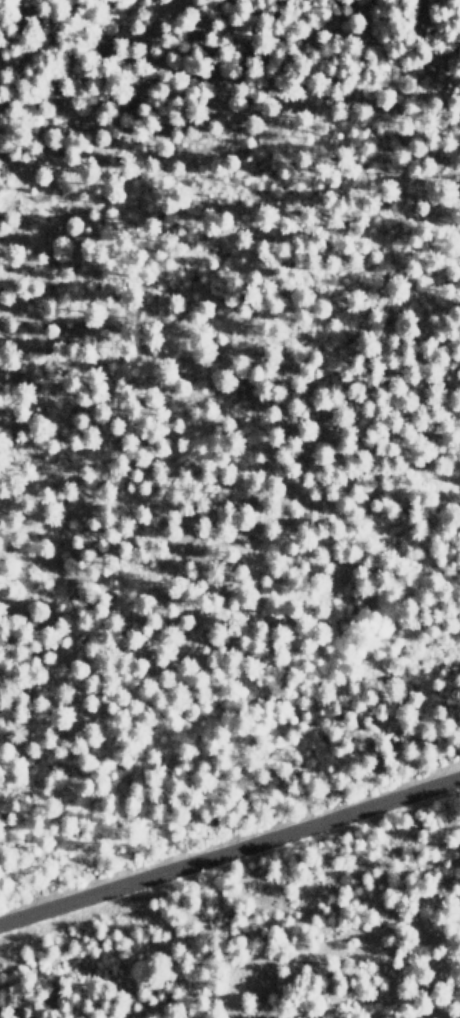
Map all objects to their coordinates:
road: (230, 852)

